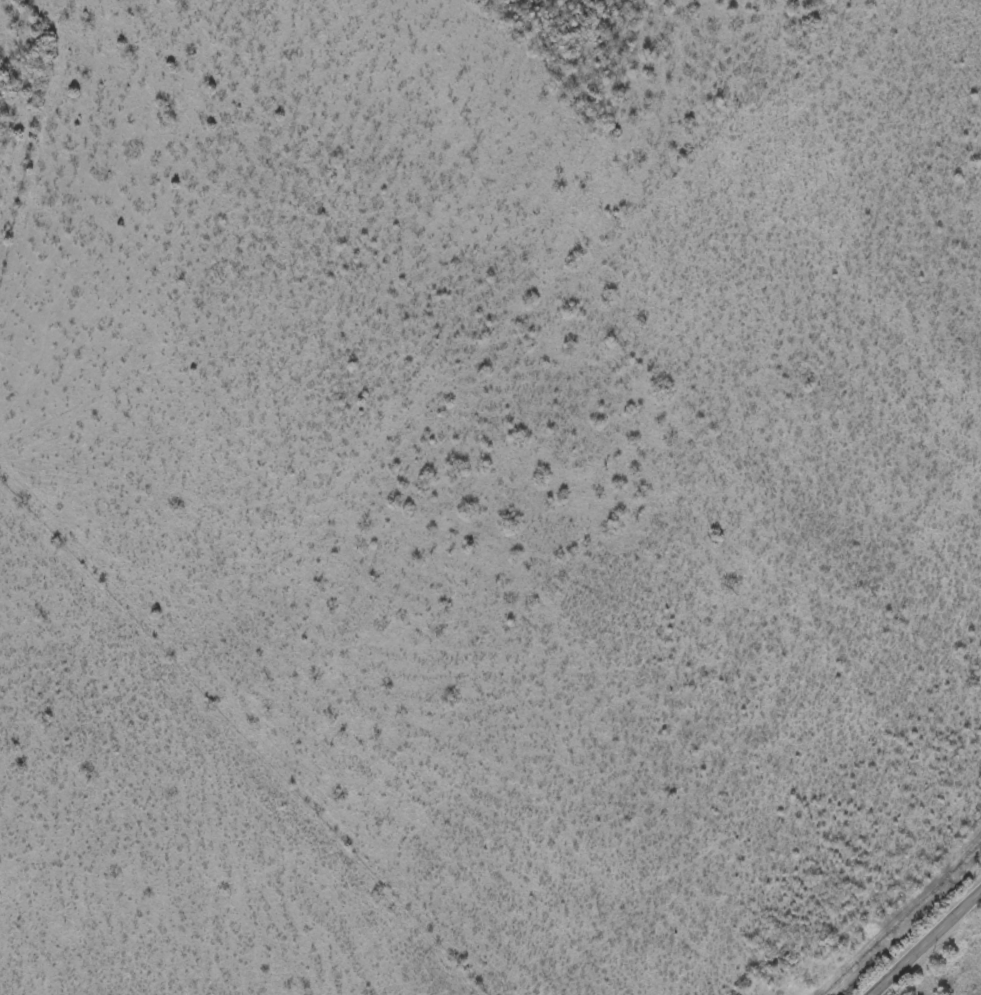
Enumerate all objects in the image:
road: (923, 941)

